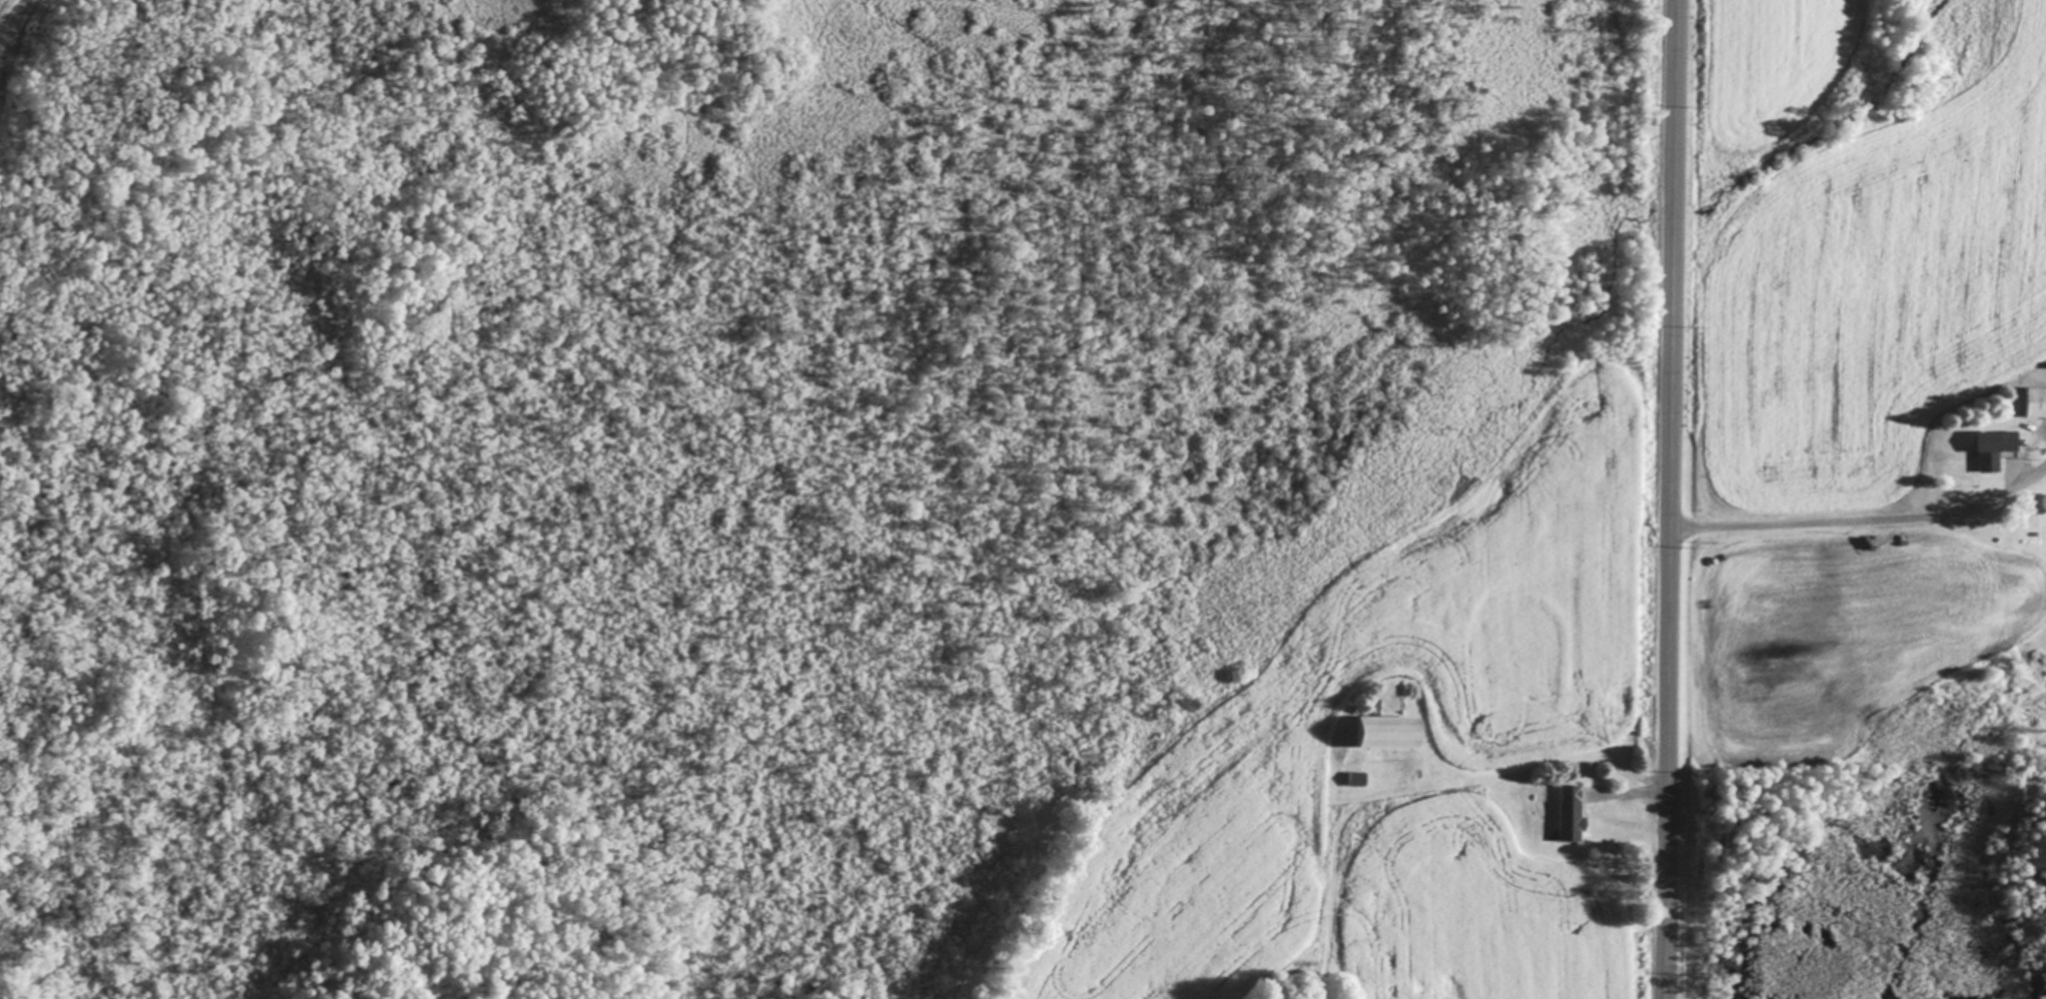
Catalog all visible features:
building: (2035, 403)
building: (1993, 448)
road: (1668, 499)
road: (1863, 519)
building: (1390, 734)
building: (1571, 814)

